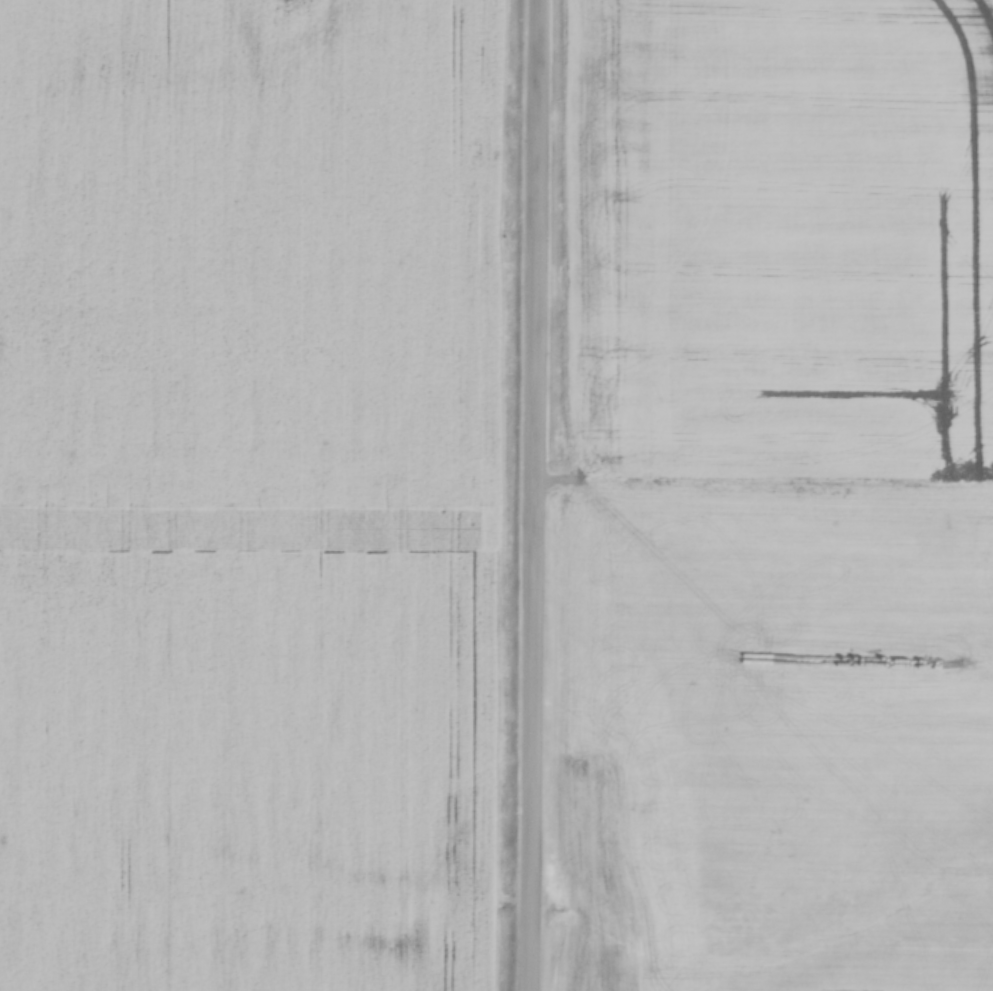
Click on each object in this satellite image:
road: (539, 495)

